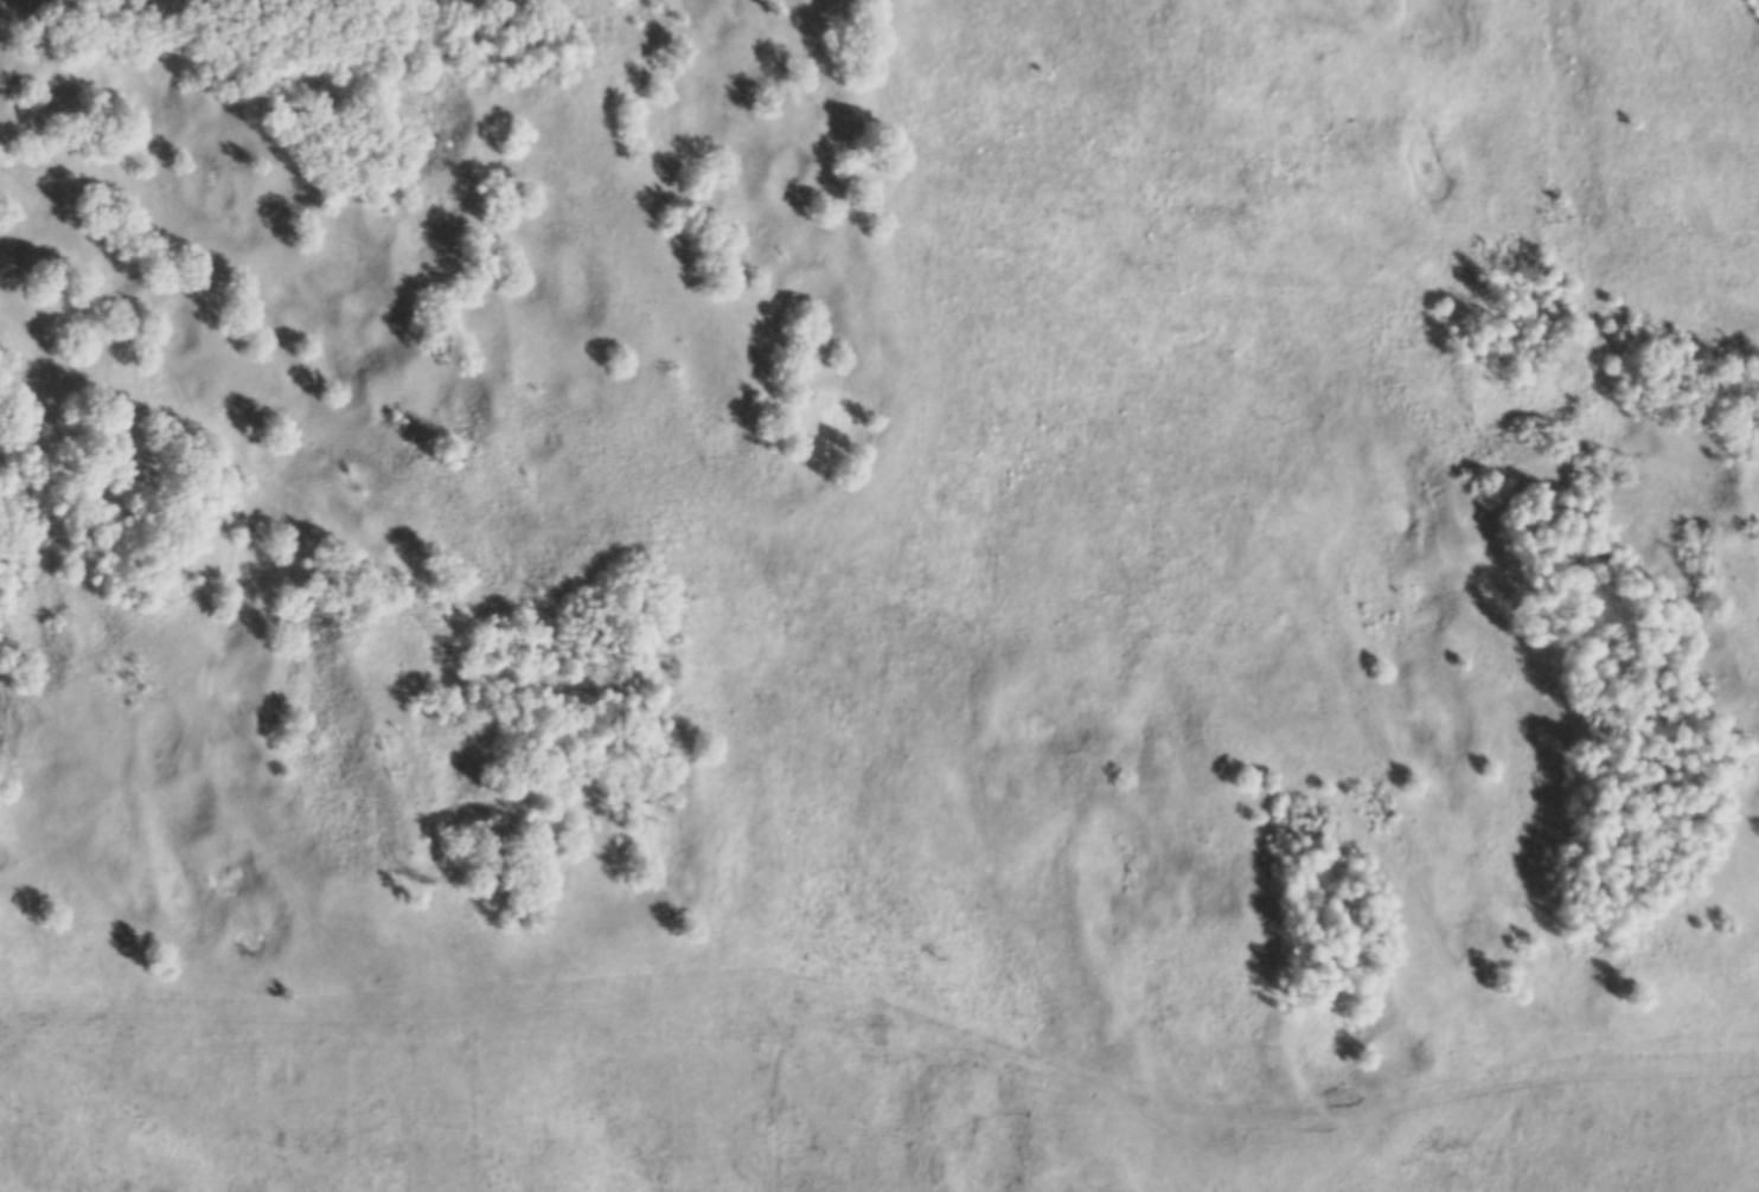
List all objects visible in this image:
road: (104, 9)
road: (843, 27)

